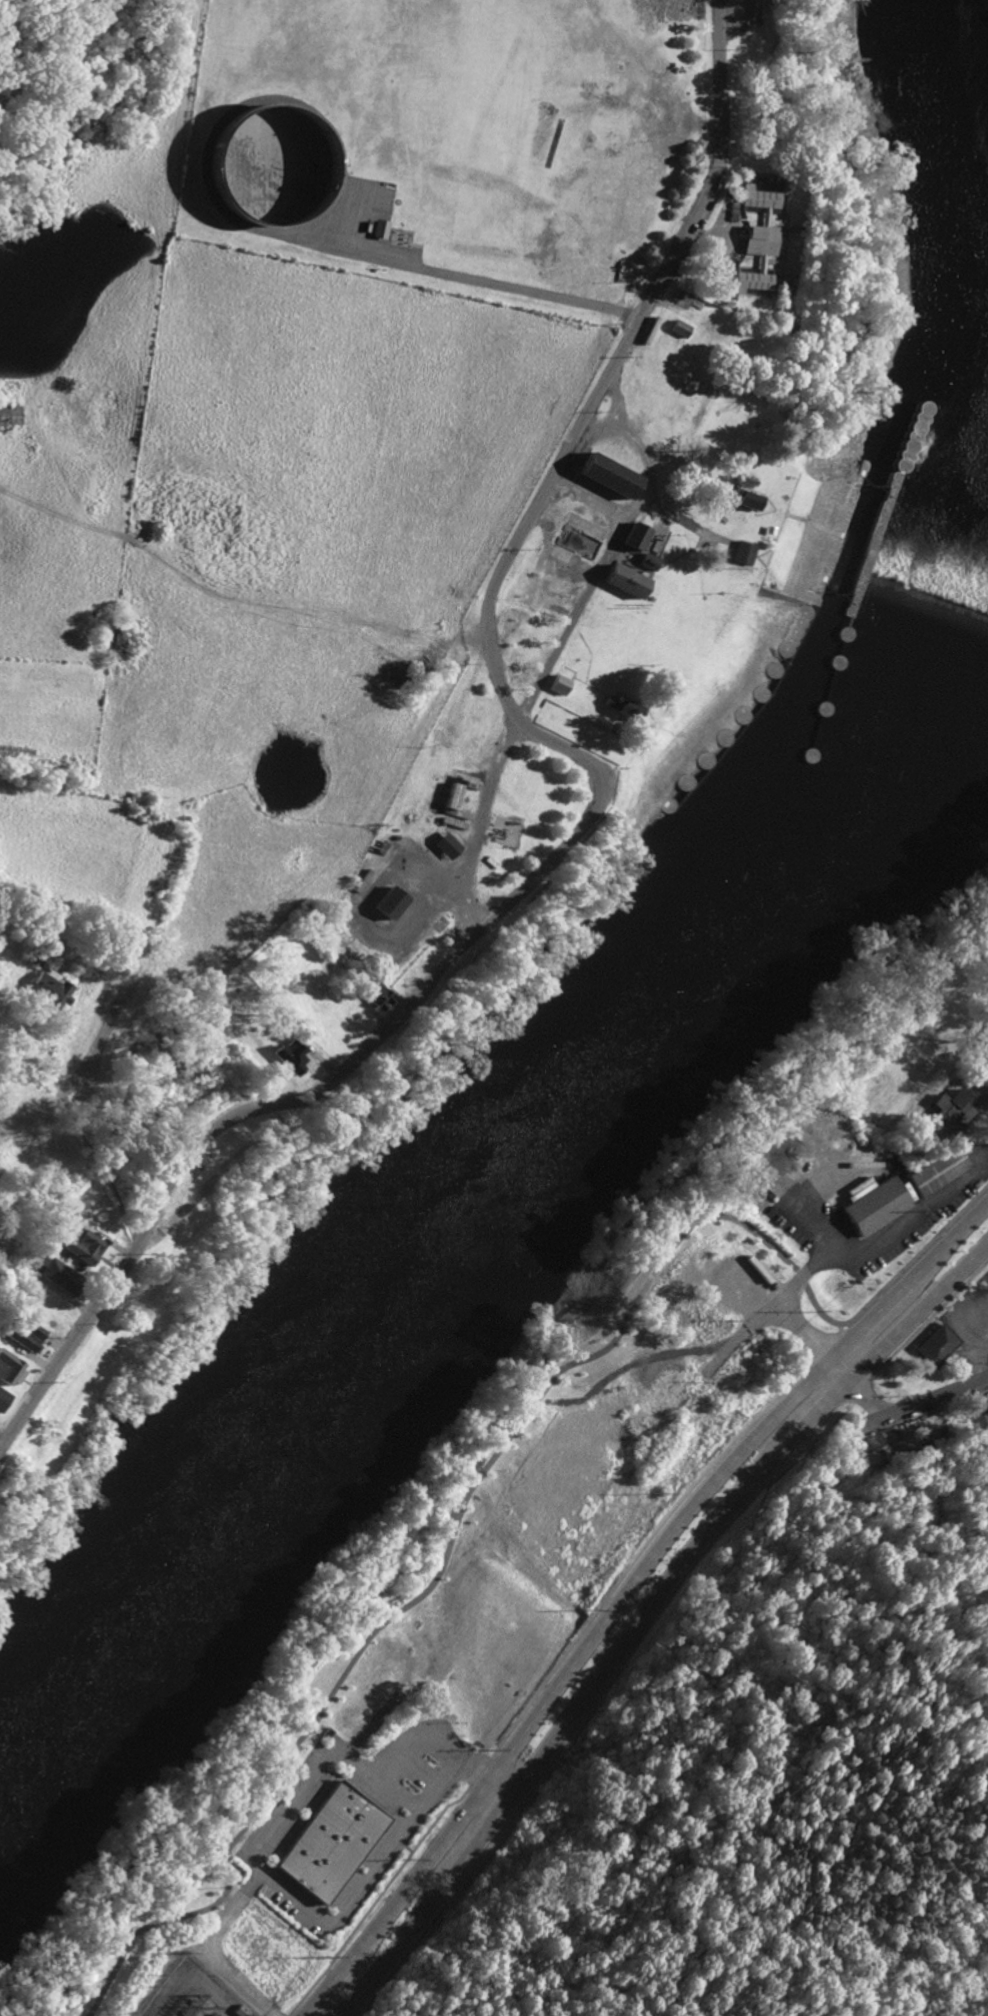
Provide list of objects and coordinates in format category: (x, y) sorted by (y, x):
storage tank: (272, 164)
building: (753, 238)
river: (934, 247)
road: (522, 287)
building: (677, 327)
building: (649, 328)
road: (614, 401)
building: (607, 474)
building: (746, 499)
road: (588, 500)
building: (768, 529)
building: (634, 535)
river: (855, 539)
road: (606, 551)
building: (741, 552)
building: (646, 561)
building: (622, 580)
building: (557, 684)
building: (622, 707)
road: (599, 796)
building: (452, 798)
road: (475, 825)
building: (446, 845)
building: (389, 902)
building: (37, 955)
building: (50, 989)
building: (374, 994)
building: (980, 1046)
building: (290, 1056)
building: (948, 1109)
building: (934, 1171)
building: (856, 1190)
building: (872, 1208)
park: (18, 1217)
parking lot: (803, 1223)
road: (15, 1233)
building: (83, 1245)
river: (478, 1255)
building: (60, 1274)
road: (796, 1280)
road: (789, 1324)
building: (31, 1328)
road: (972, 1337)
building: (24, 1340)
building: (934, 1344)
building: (10, 1368)
building: (3, 1398)
road: (901, 1411)
building: (985, 1414)
road: (3, 1427)
building: (903, 1446)
road: (487, 1459)
building: (866, 1461)
road: (625, 1591)
park: (447, 1600)
road: (645, 1612)
road: (653, 1618)
road: (554, 1664)
road: (410, 1738)
road: (313, 1768)
park: (762, 1772)
building: (329, 1842)
road: (741, 1912)
road: (930, 1915)
road: (328, 1922)
power substation: (185, 1995)

